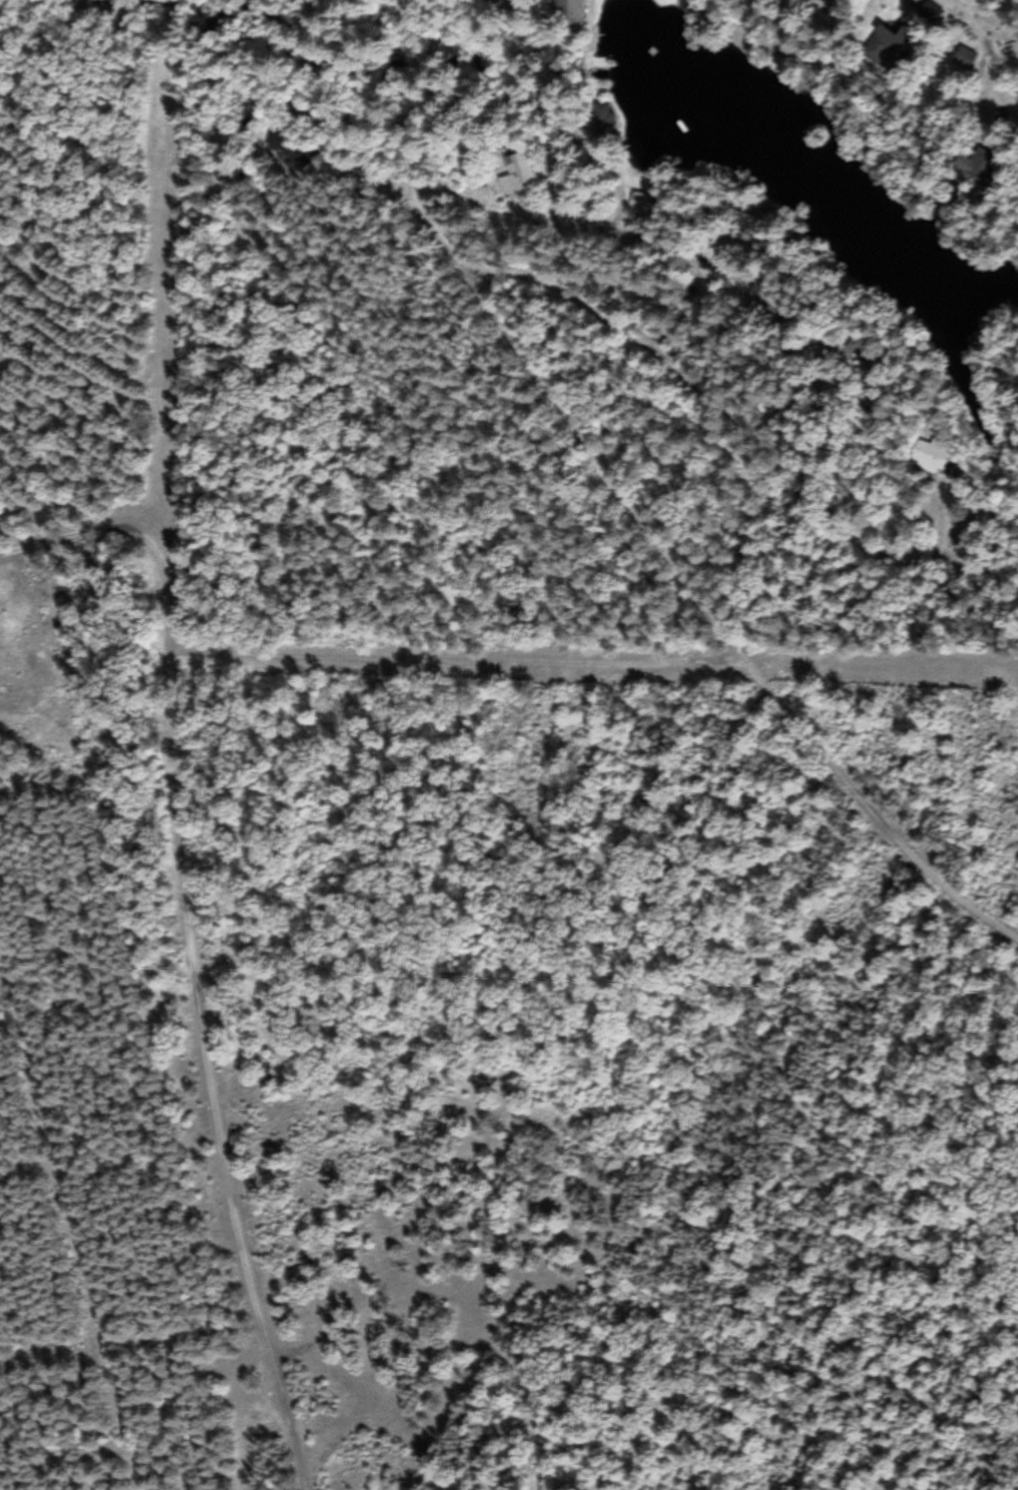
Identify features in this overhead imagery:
building: (819, 1)
building: (565, 14)
building: (929, 15)
building: (887, 49)
building: (962, 61)
road: (921, 78)
building: (599, 121)
road: (385, 146)
building: (284, 149)
building: (980, 173)
building: (515, 177)
road: (689, 360)
building: (928, 461)
road: (189, 943)

